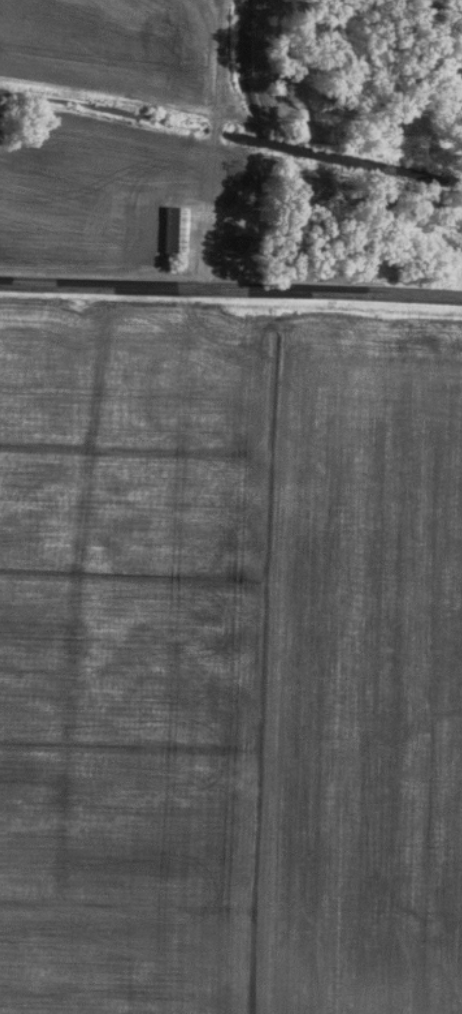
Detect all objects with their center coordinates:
building: (173, 230)
building: (239, 245)
road: (231, 292)

